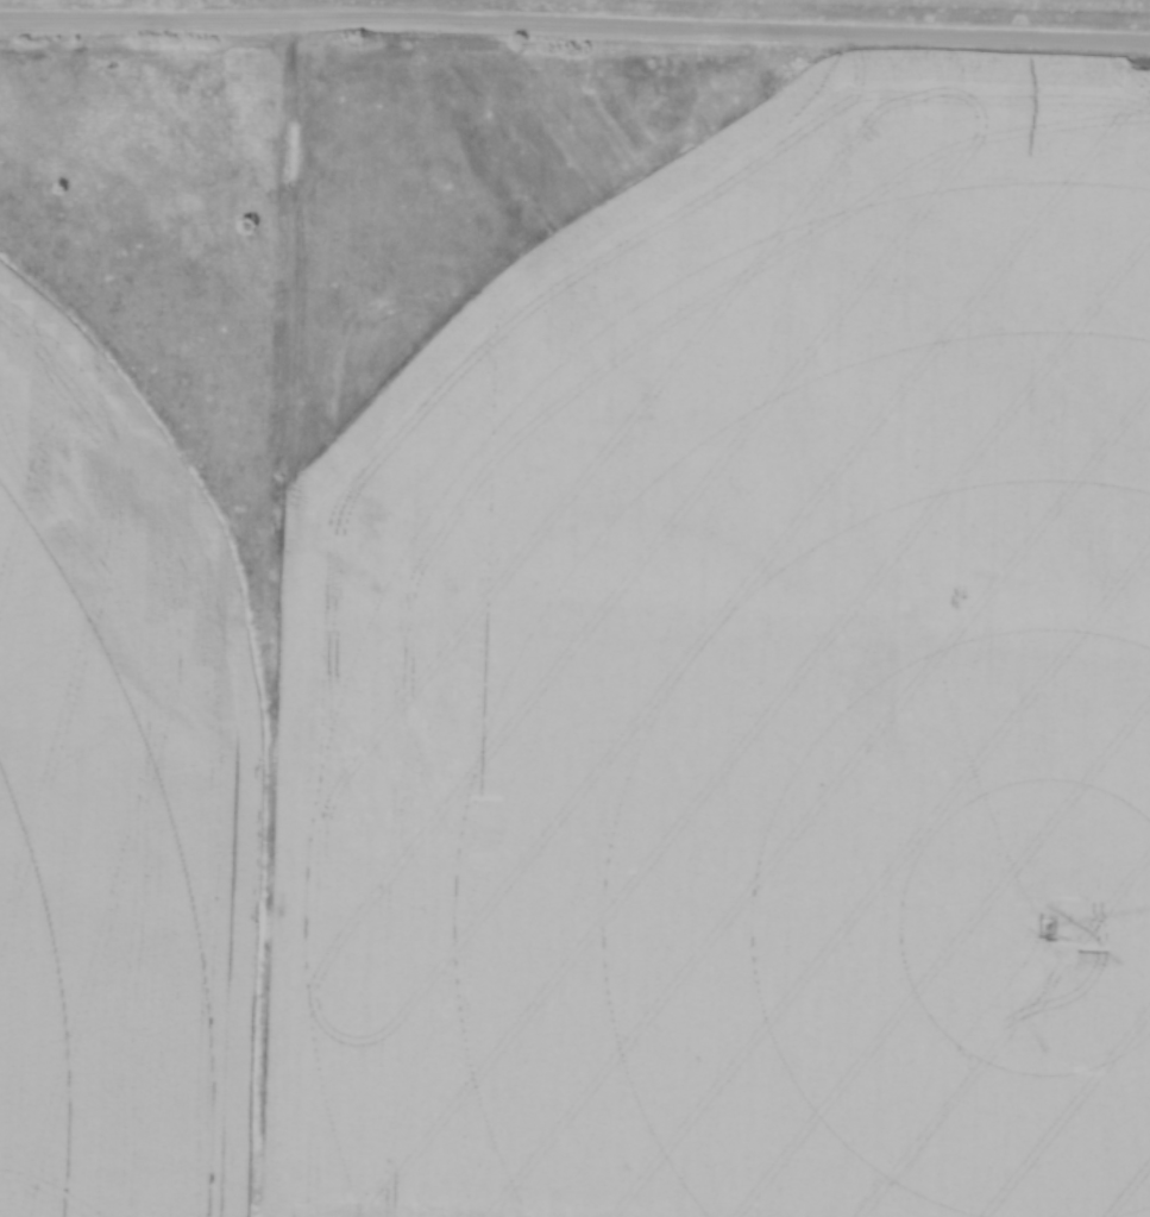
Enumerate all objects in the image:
road: (574, 30)

